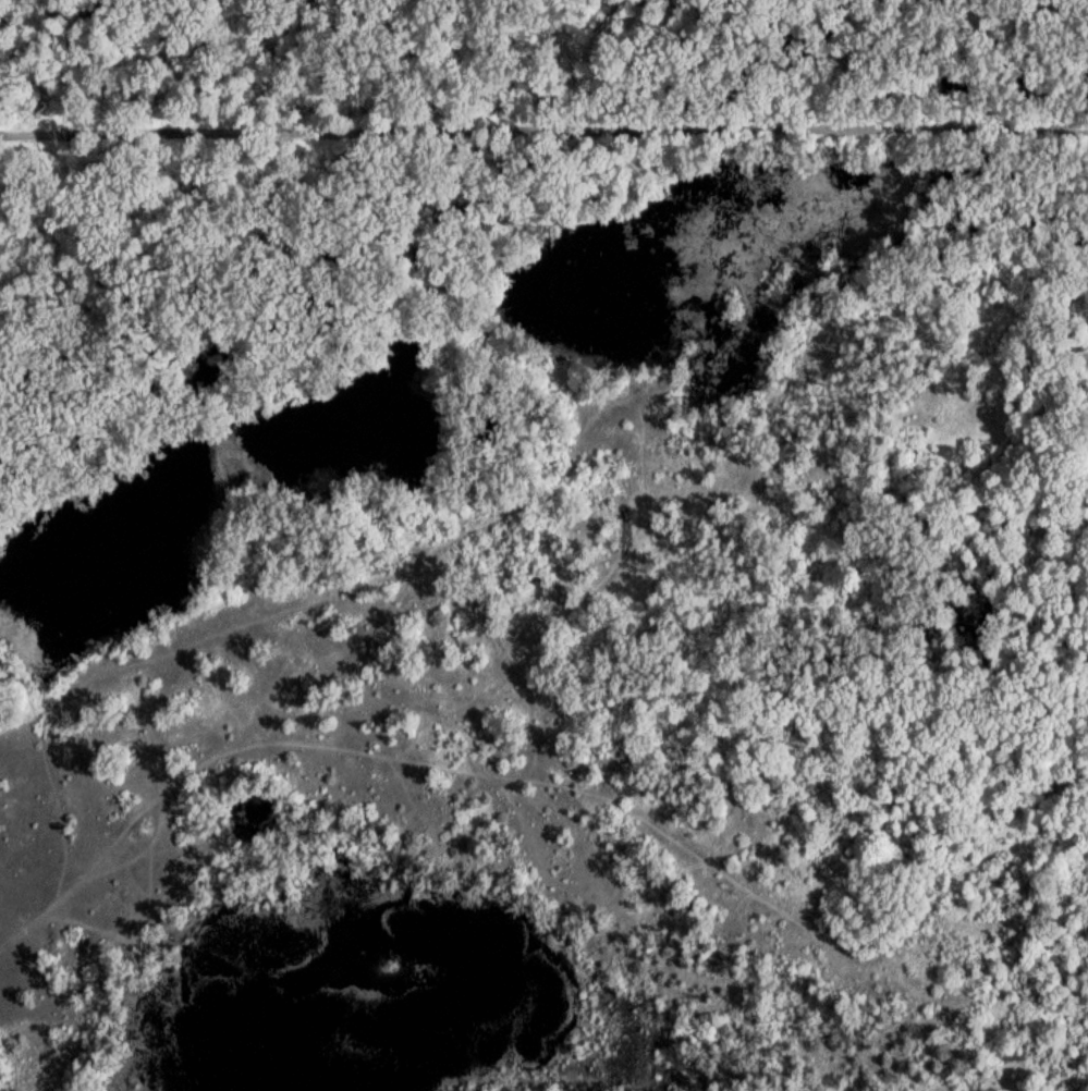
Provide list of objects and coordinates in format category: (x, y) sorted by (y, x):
road: (266, 131)

